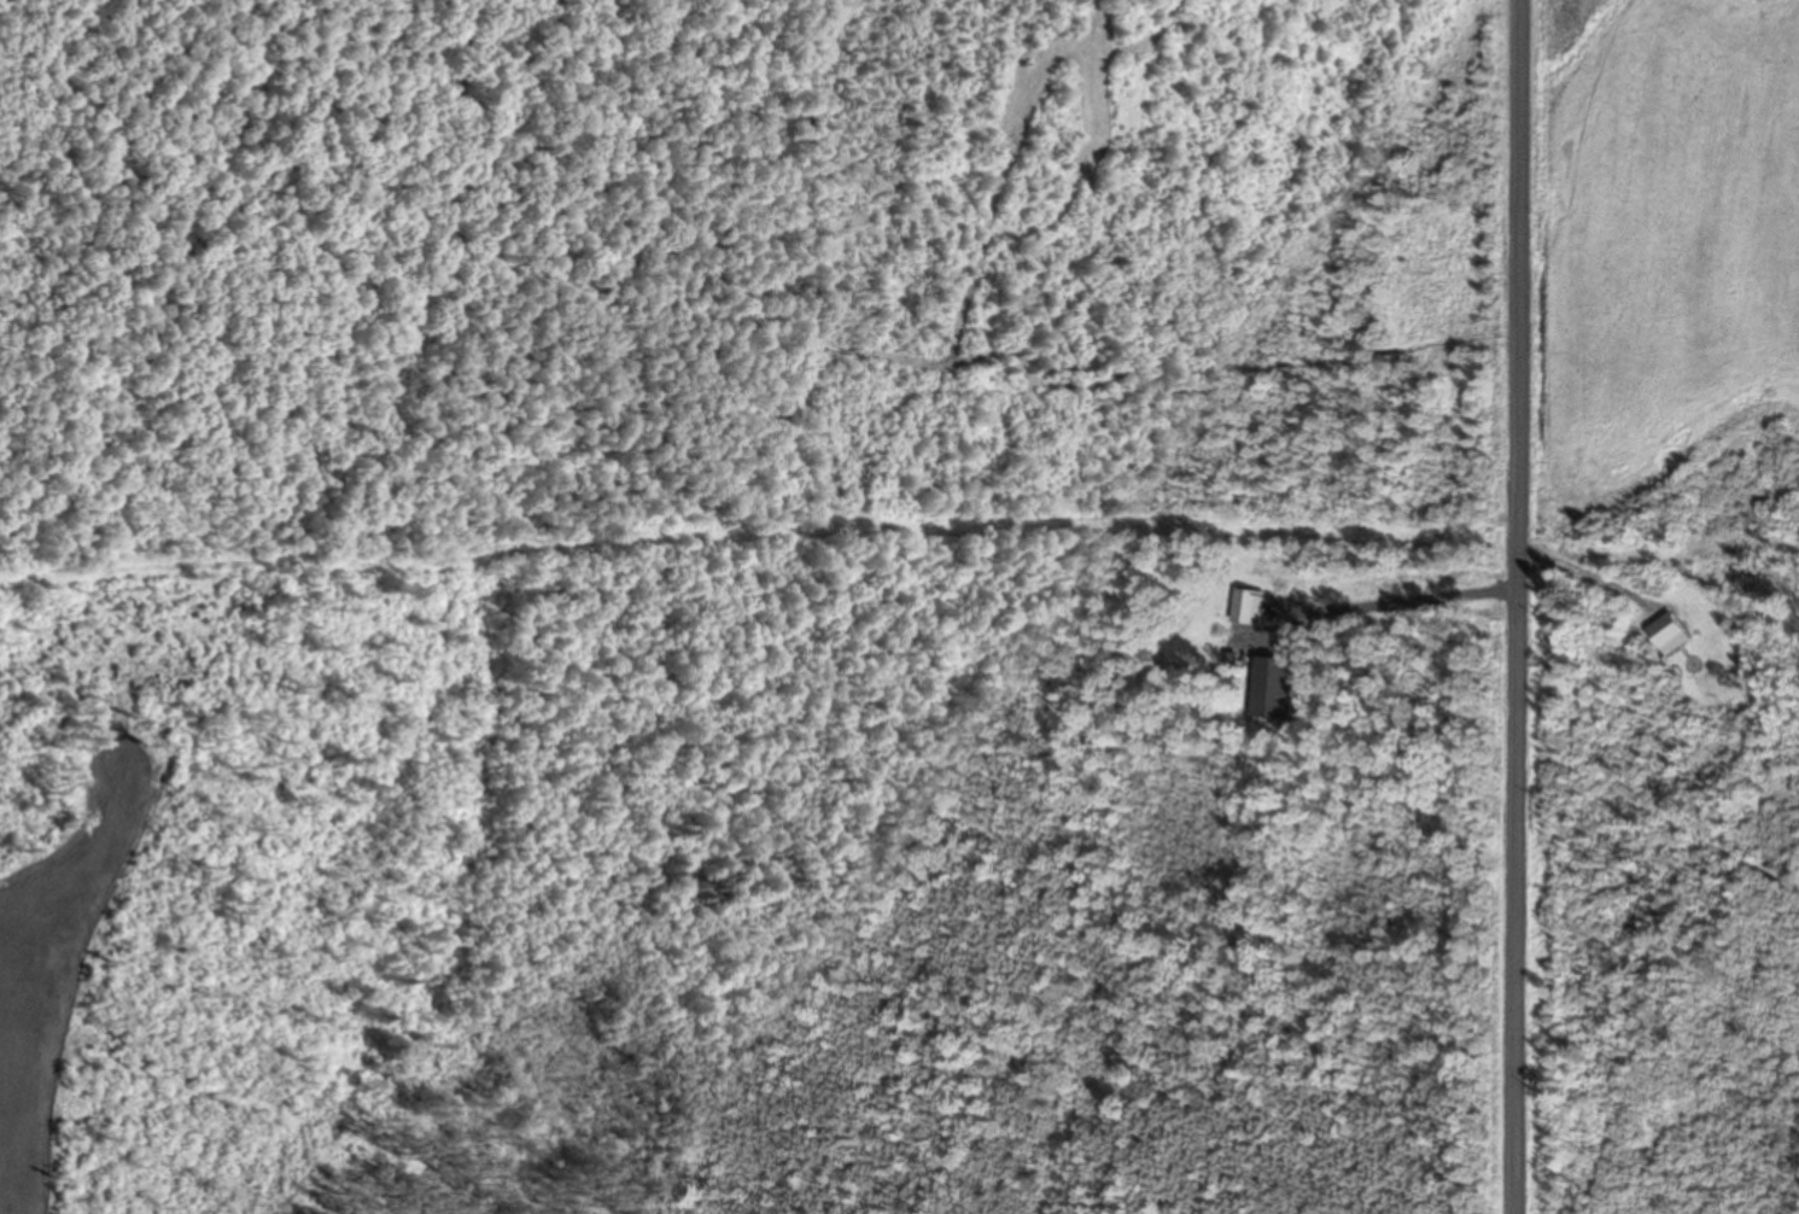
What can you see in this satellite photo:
road: (1518, 607)
building: (1251, 608)
building: (1674, 636)
building: (1275, 689)

